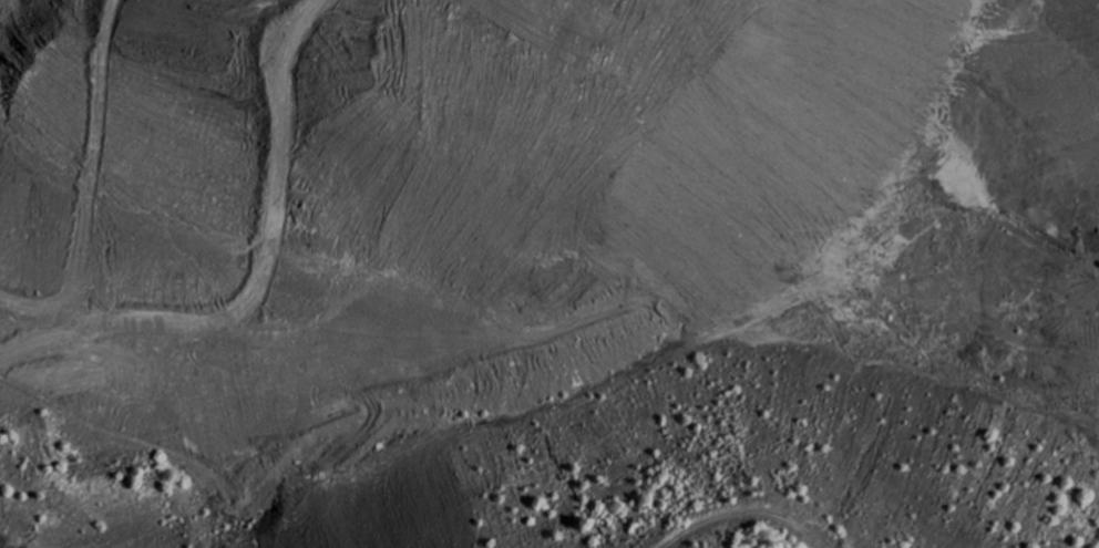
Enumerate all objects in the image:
quarry: (549, 273)

